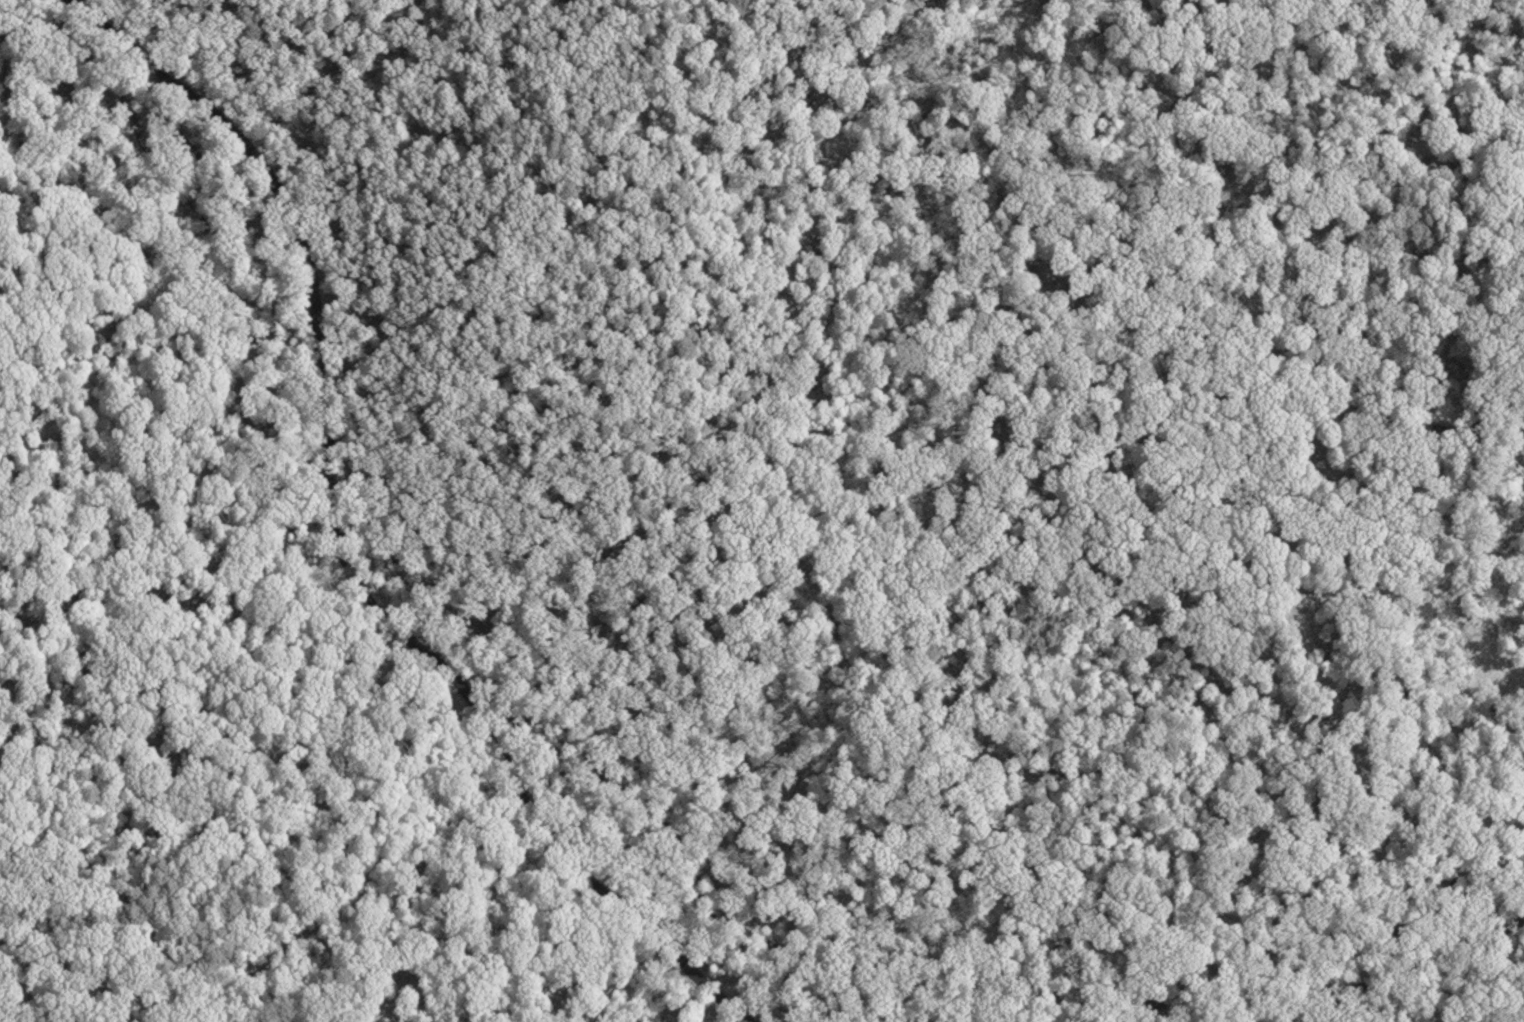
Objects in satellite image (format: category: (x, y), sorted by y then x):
road: (1008, 82)
road: (944, 164)
road: (1393, 191)
road: (360, 553)
road: (97, 944)
road: (1398, 972)

